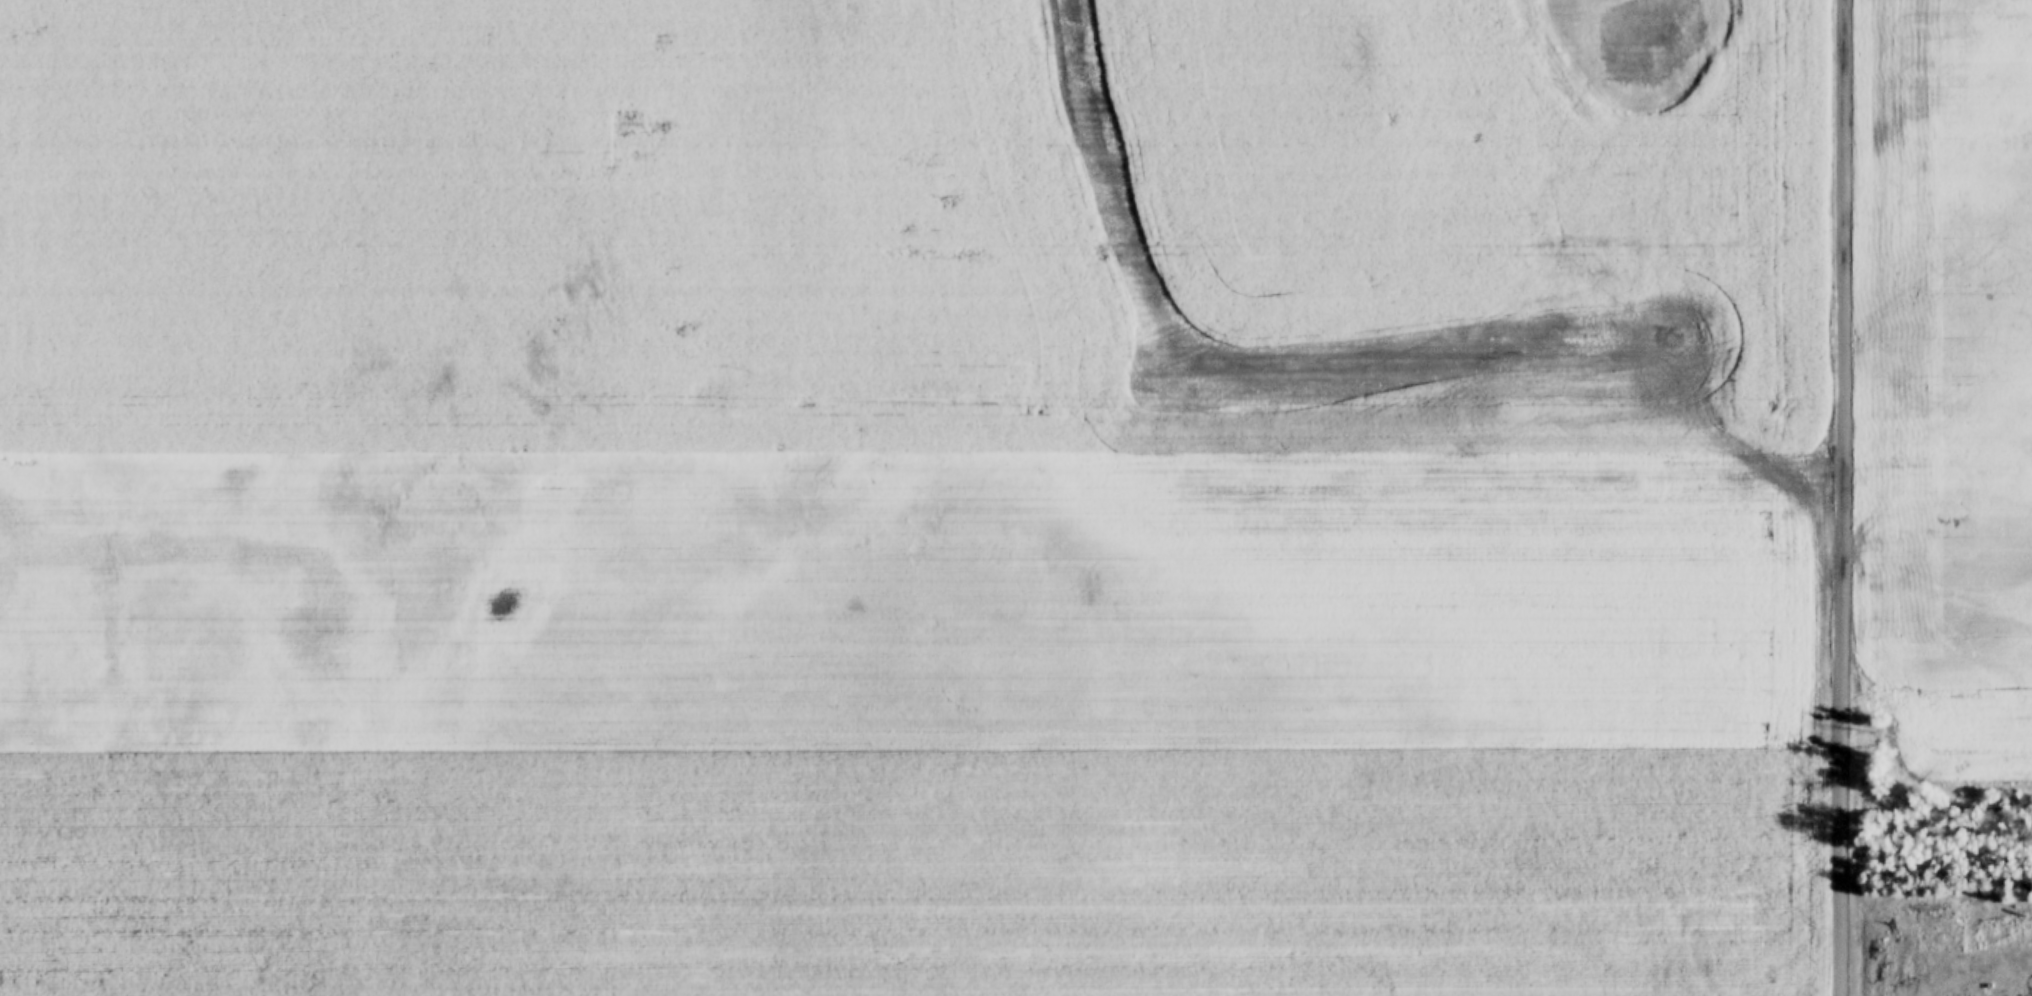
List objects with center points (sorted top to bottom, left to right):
road: (1840, 497)

